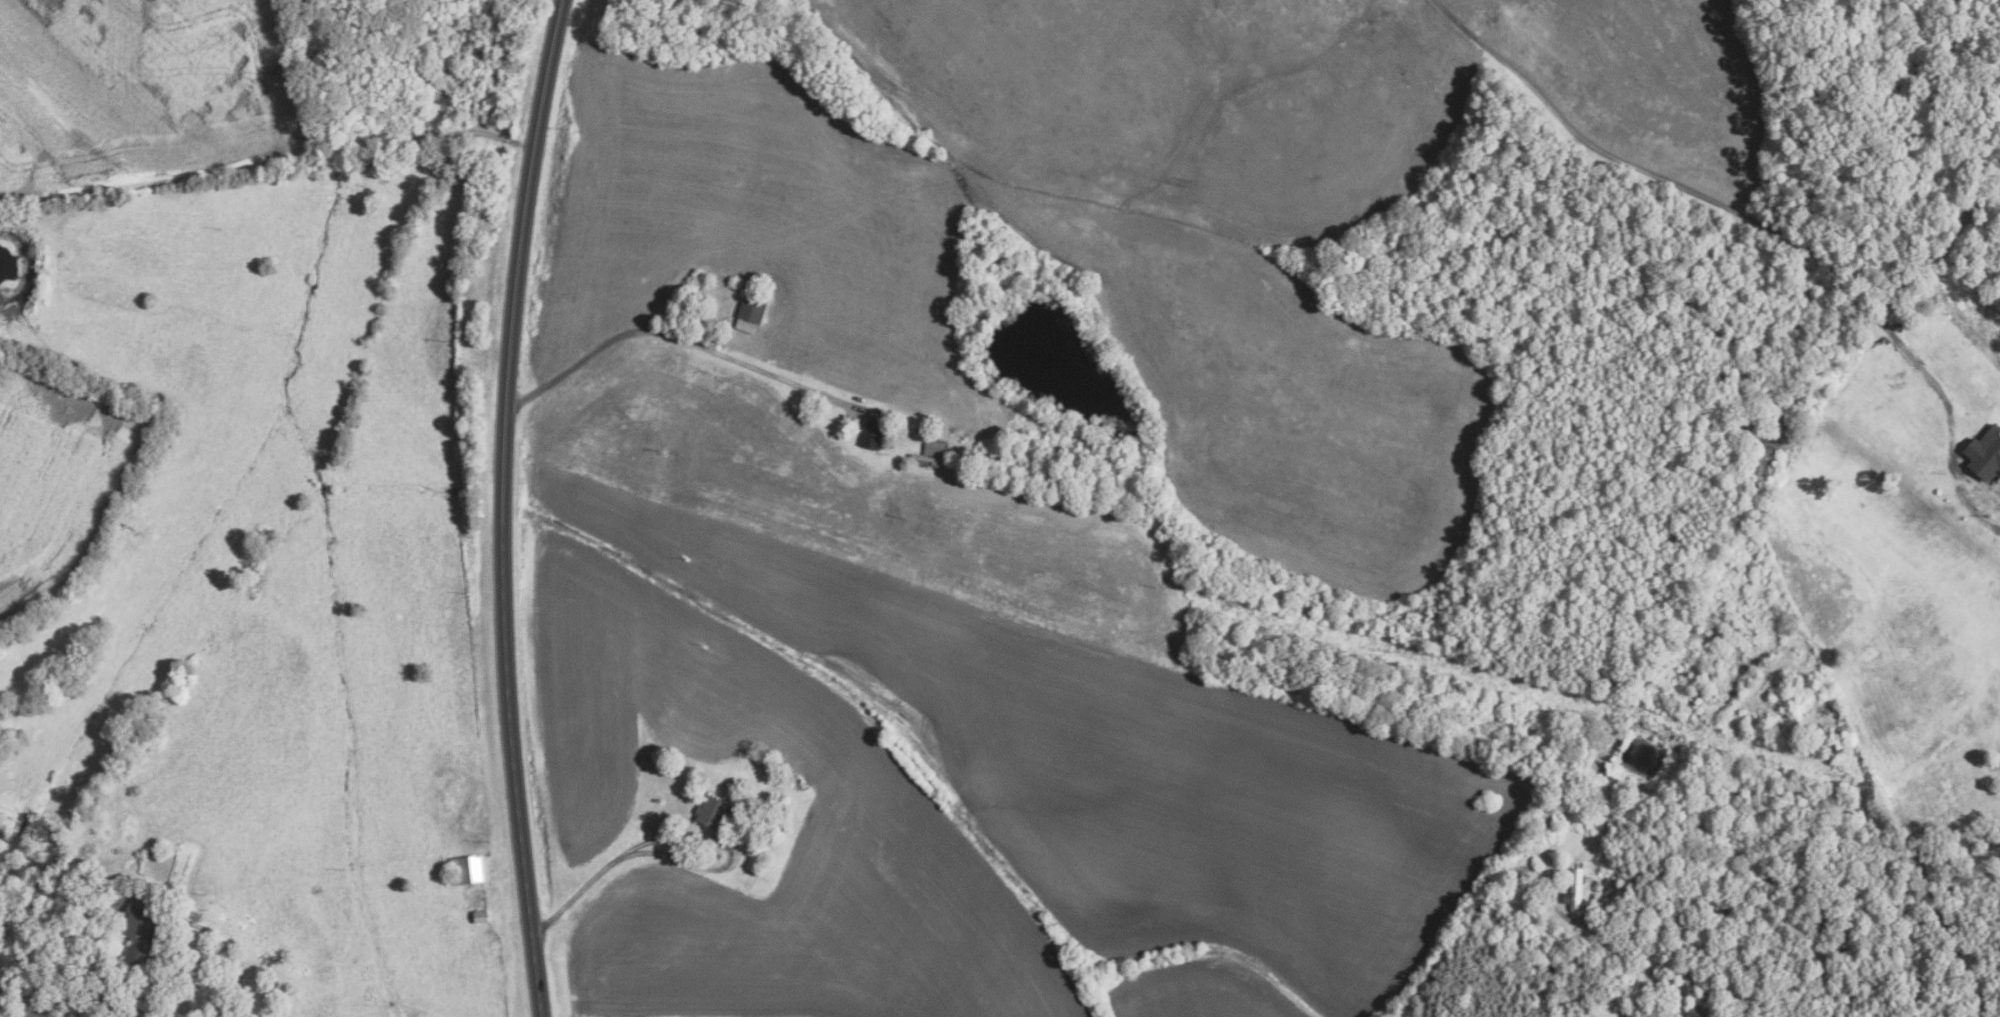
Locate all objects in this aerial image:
crop: (1644, 75)
road: (267, 156)
road: (1707, 202)
crop: (1070, 237)
building: (751, 312)
road: (674, 332)
building: (873, 433)
building: (936, 447)
building: (1985, 453)
building: (928, 461)
building: (1994, 493)
crop: (854, 495)
building: (1966, 501)
road: (503, 507)
building: (1733, 626)
building: (764, 758)
crop: (961, 793)
building: (781, 807)
building: (712, 811)
building: (1548, 821)
road: (684, 835)
building: (152, 852)
building: (718, 856)
building: (755, 861)
building: (466, 869)
building: (121, 881)
building: (1615, 887)
building: (1575, 891)
road: (131, 898)
building: (481, 917)
building: (141, 935)
road: (1557, 1006)
building: (1696, 1011)

